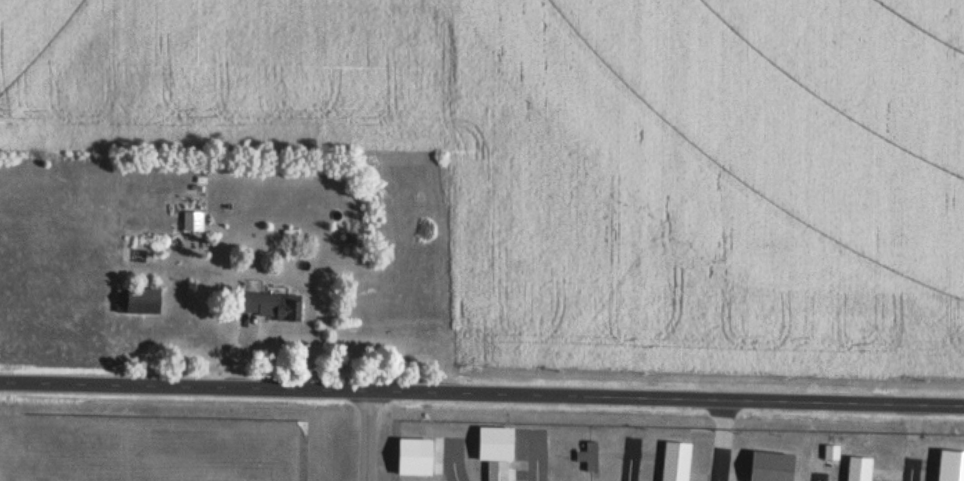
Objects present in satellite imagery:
building: (191, 224)
building: (139, 303)
building: (267, 307)
road: (482, 393)
road: (367, 436)
airport hangar: (494, 449)
building: (494, 449)
airport: (450, 451)
airport hangar: (587, 453)
building: (587, 453)
airport hangar: (414, 457)
building: (414, 457)
airport taxiway: (535, 457)
airport taxiway: (632, 460)
airport hangar: (674, 461)
building: (674, 461)
airport taxiway: (454, 463)
airport taxiway: (721, 465)
airport hangar: (947, 465)
building: (947, 465)
airport hangar: (771, 466)
building: (771, 466)
airport hangar: (857, 469)
building: (857, 469)
airport taxiway: (911, 476)
airport taxiway: (818, 478)

